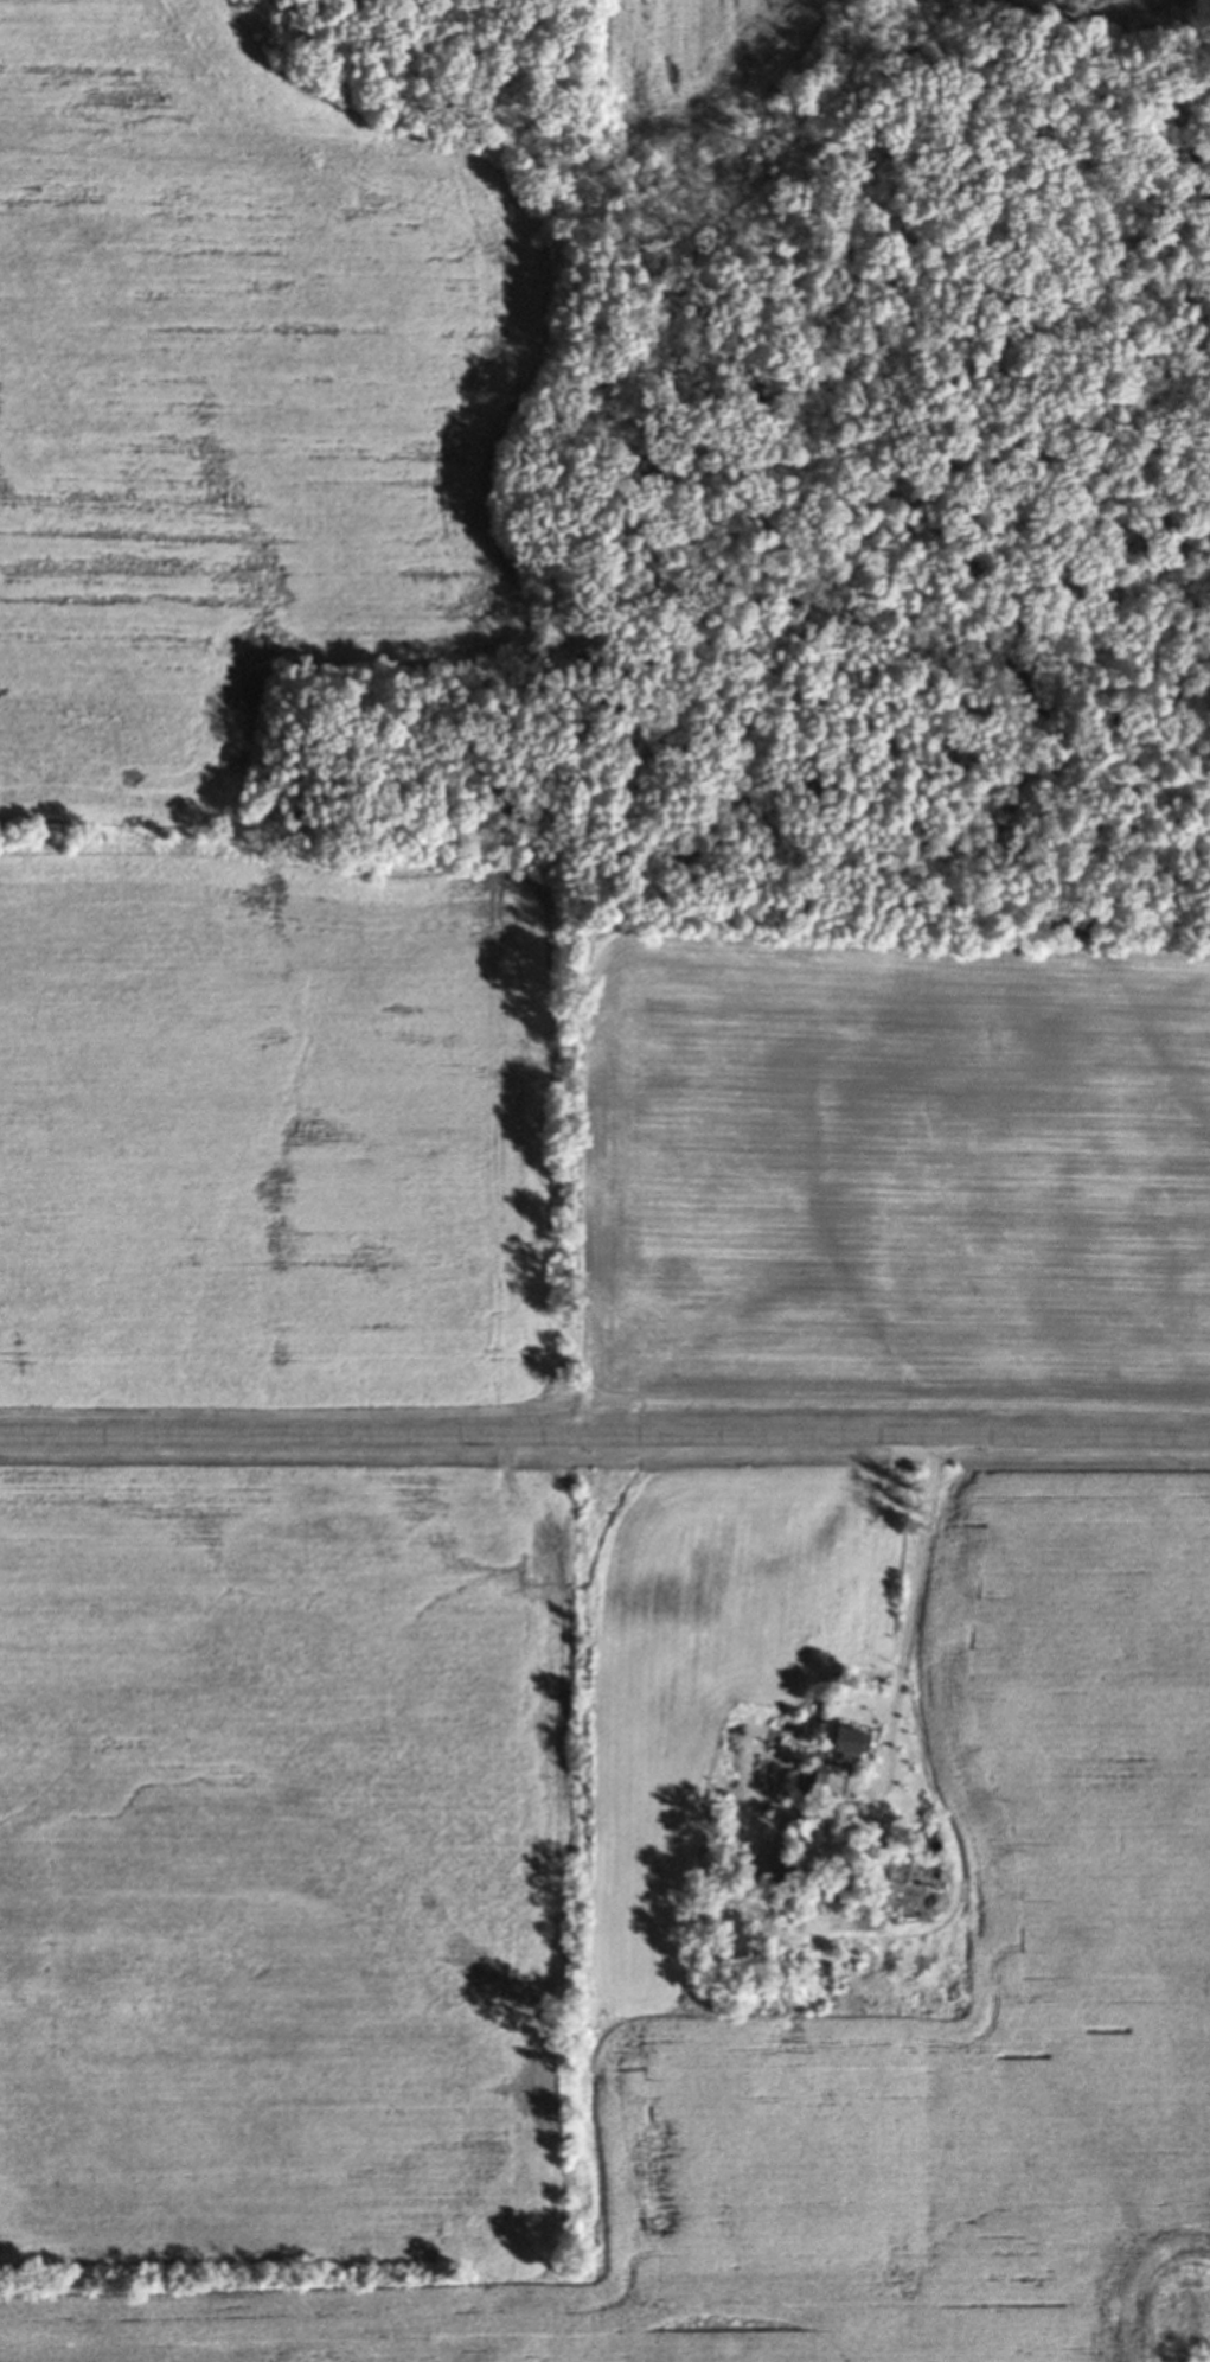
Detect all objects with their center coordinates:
road: (604, 1447)
road: (890, 1636)
building: (857, 1741)
building: (785, 1864)

